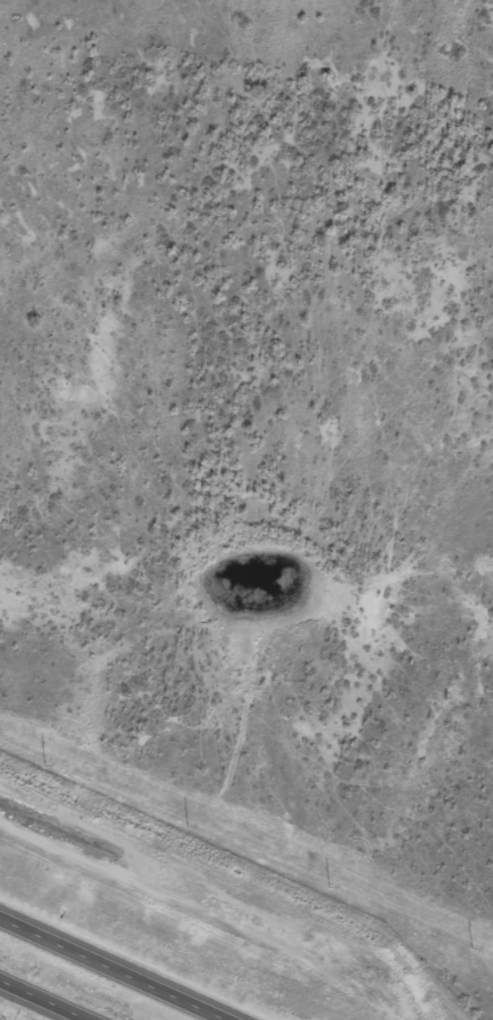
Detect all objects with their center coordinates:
road: (114, 969)
road: (39, 1001)

